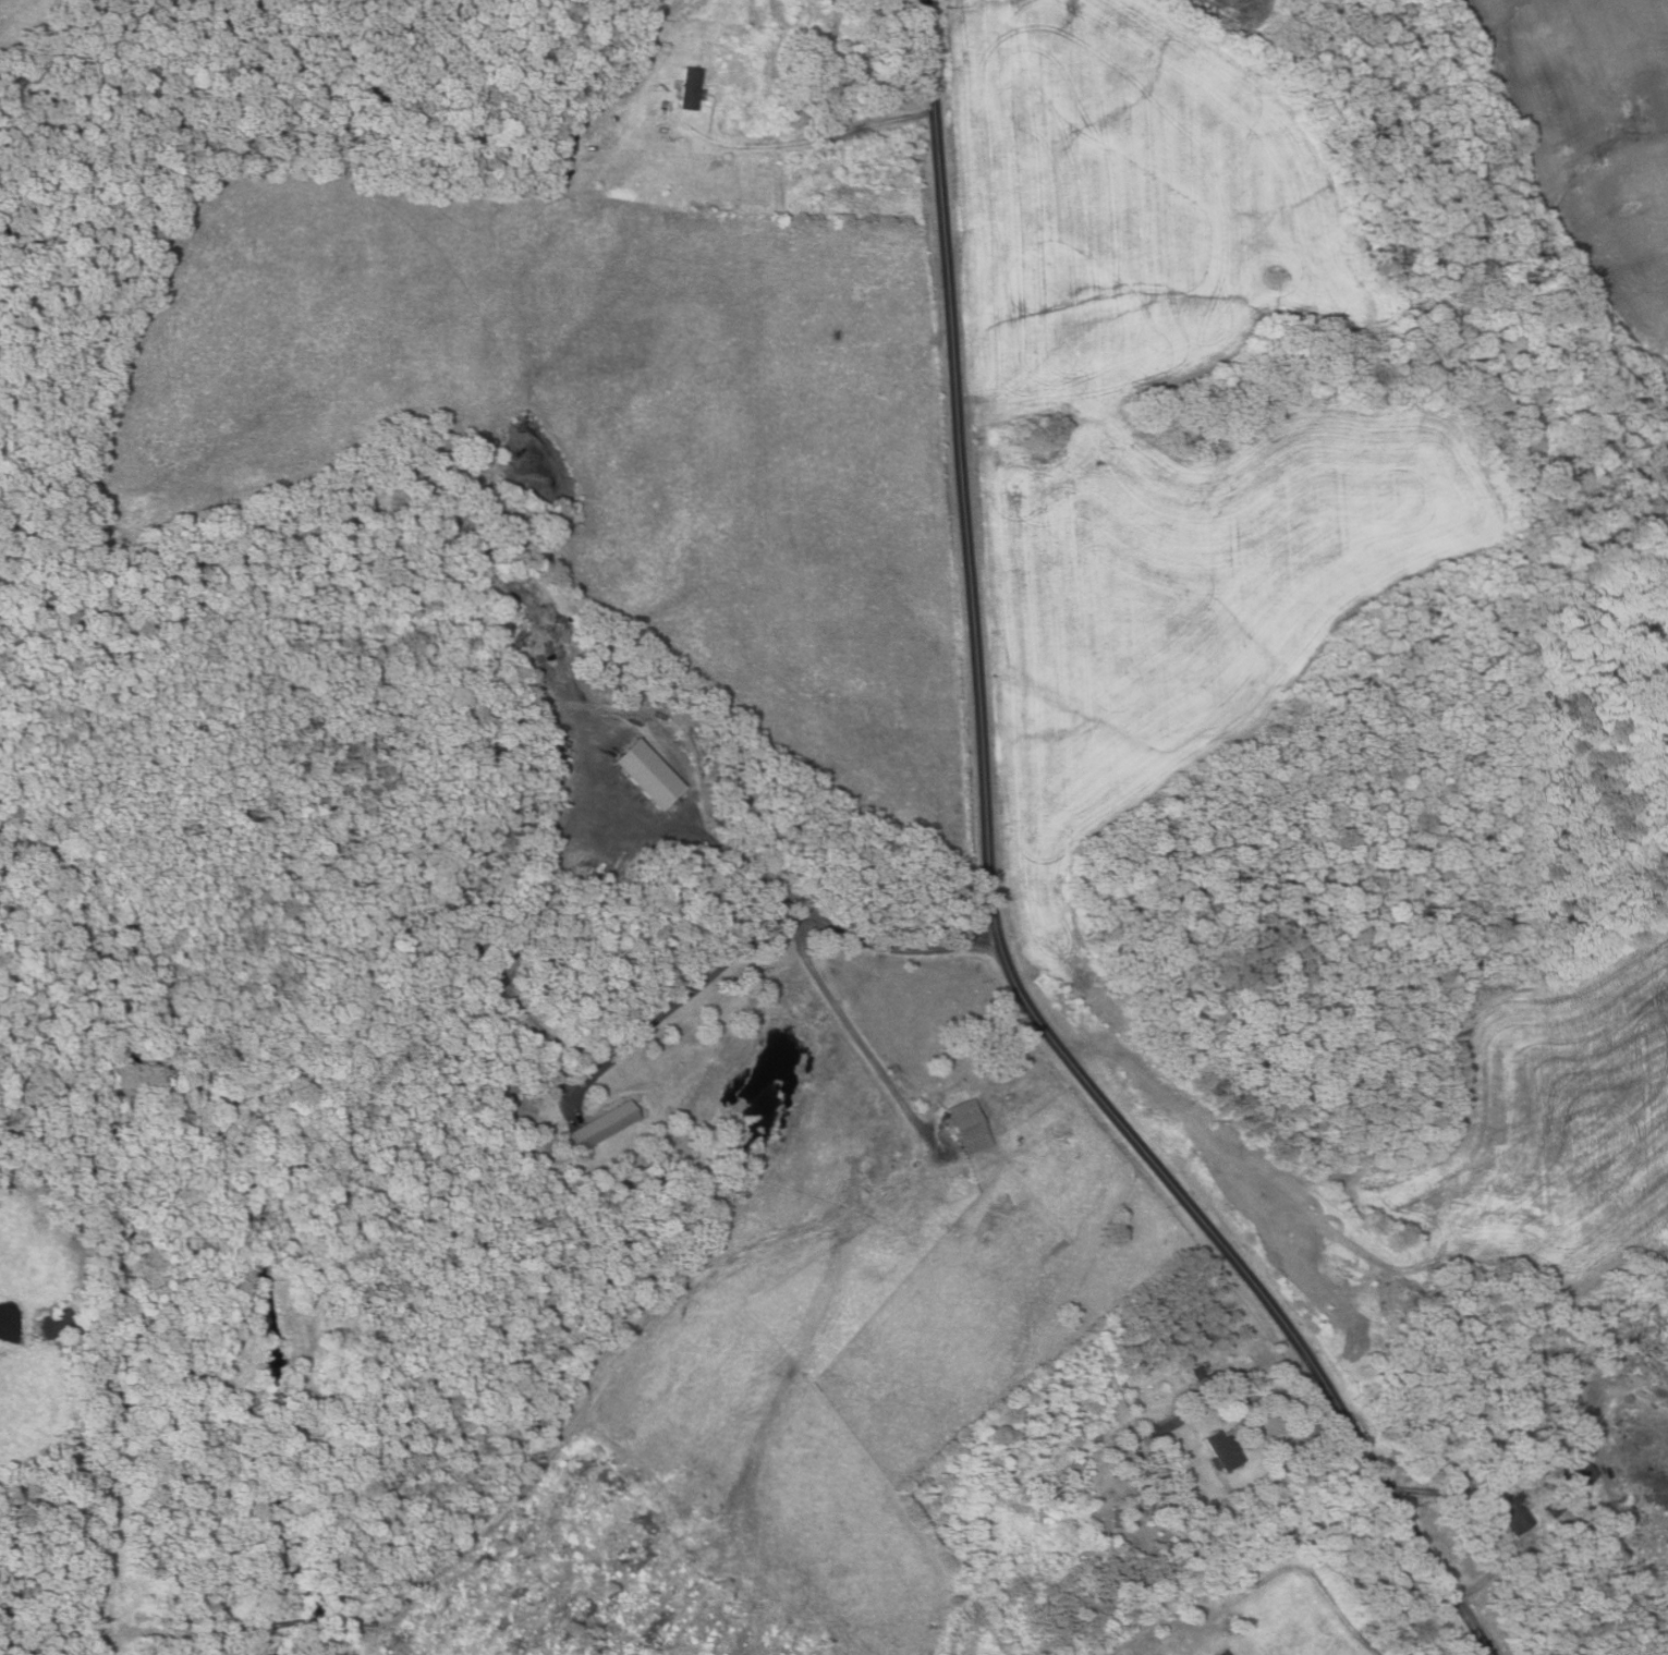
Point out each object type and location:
building: (841, 0)
crop: (1239, 14)
building: (690, 87)
road: (821, 134)
crop: (1590, 137)
building: (567, 139)
crop: (1241, 489)
building: (646, 774)
road: (993, 903)
road: (825, 928)
road: (689, 1006)
road: (898, 1094)
building: (602, 1125)
building: (969, 1127)
building: (1196, 1372)
building: (1214, 1378)
building: (1190, 1380)
building: (1133, 1400)
building: (1257, 1408)
road: (1277, 1412)
building: (1171, 1425)
building: (1153, 1433)
building: (1222, 1451)
building: (1576, 1478)
building: (1555, 1507)
building: (1167, 1512)
building: (1511, 1514)
road: (1487, 1516)
building: (1116, 1518)
building: (1192, 1558)
building: (1222, 1652)

